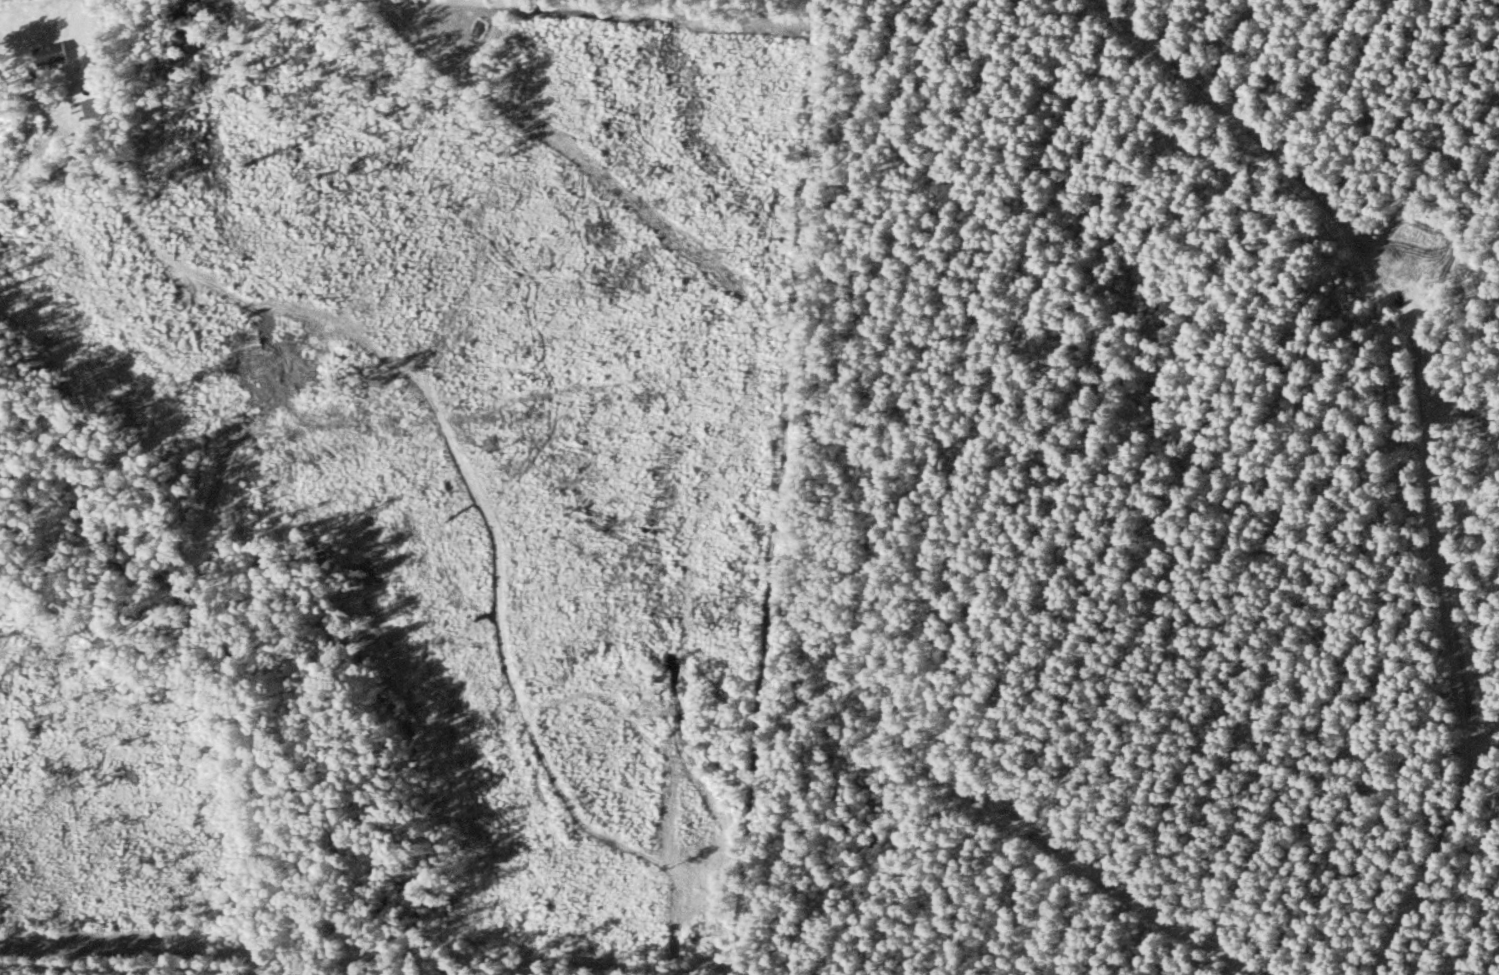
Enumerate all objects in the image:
building: (50, 55)
building: (93, 108)

